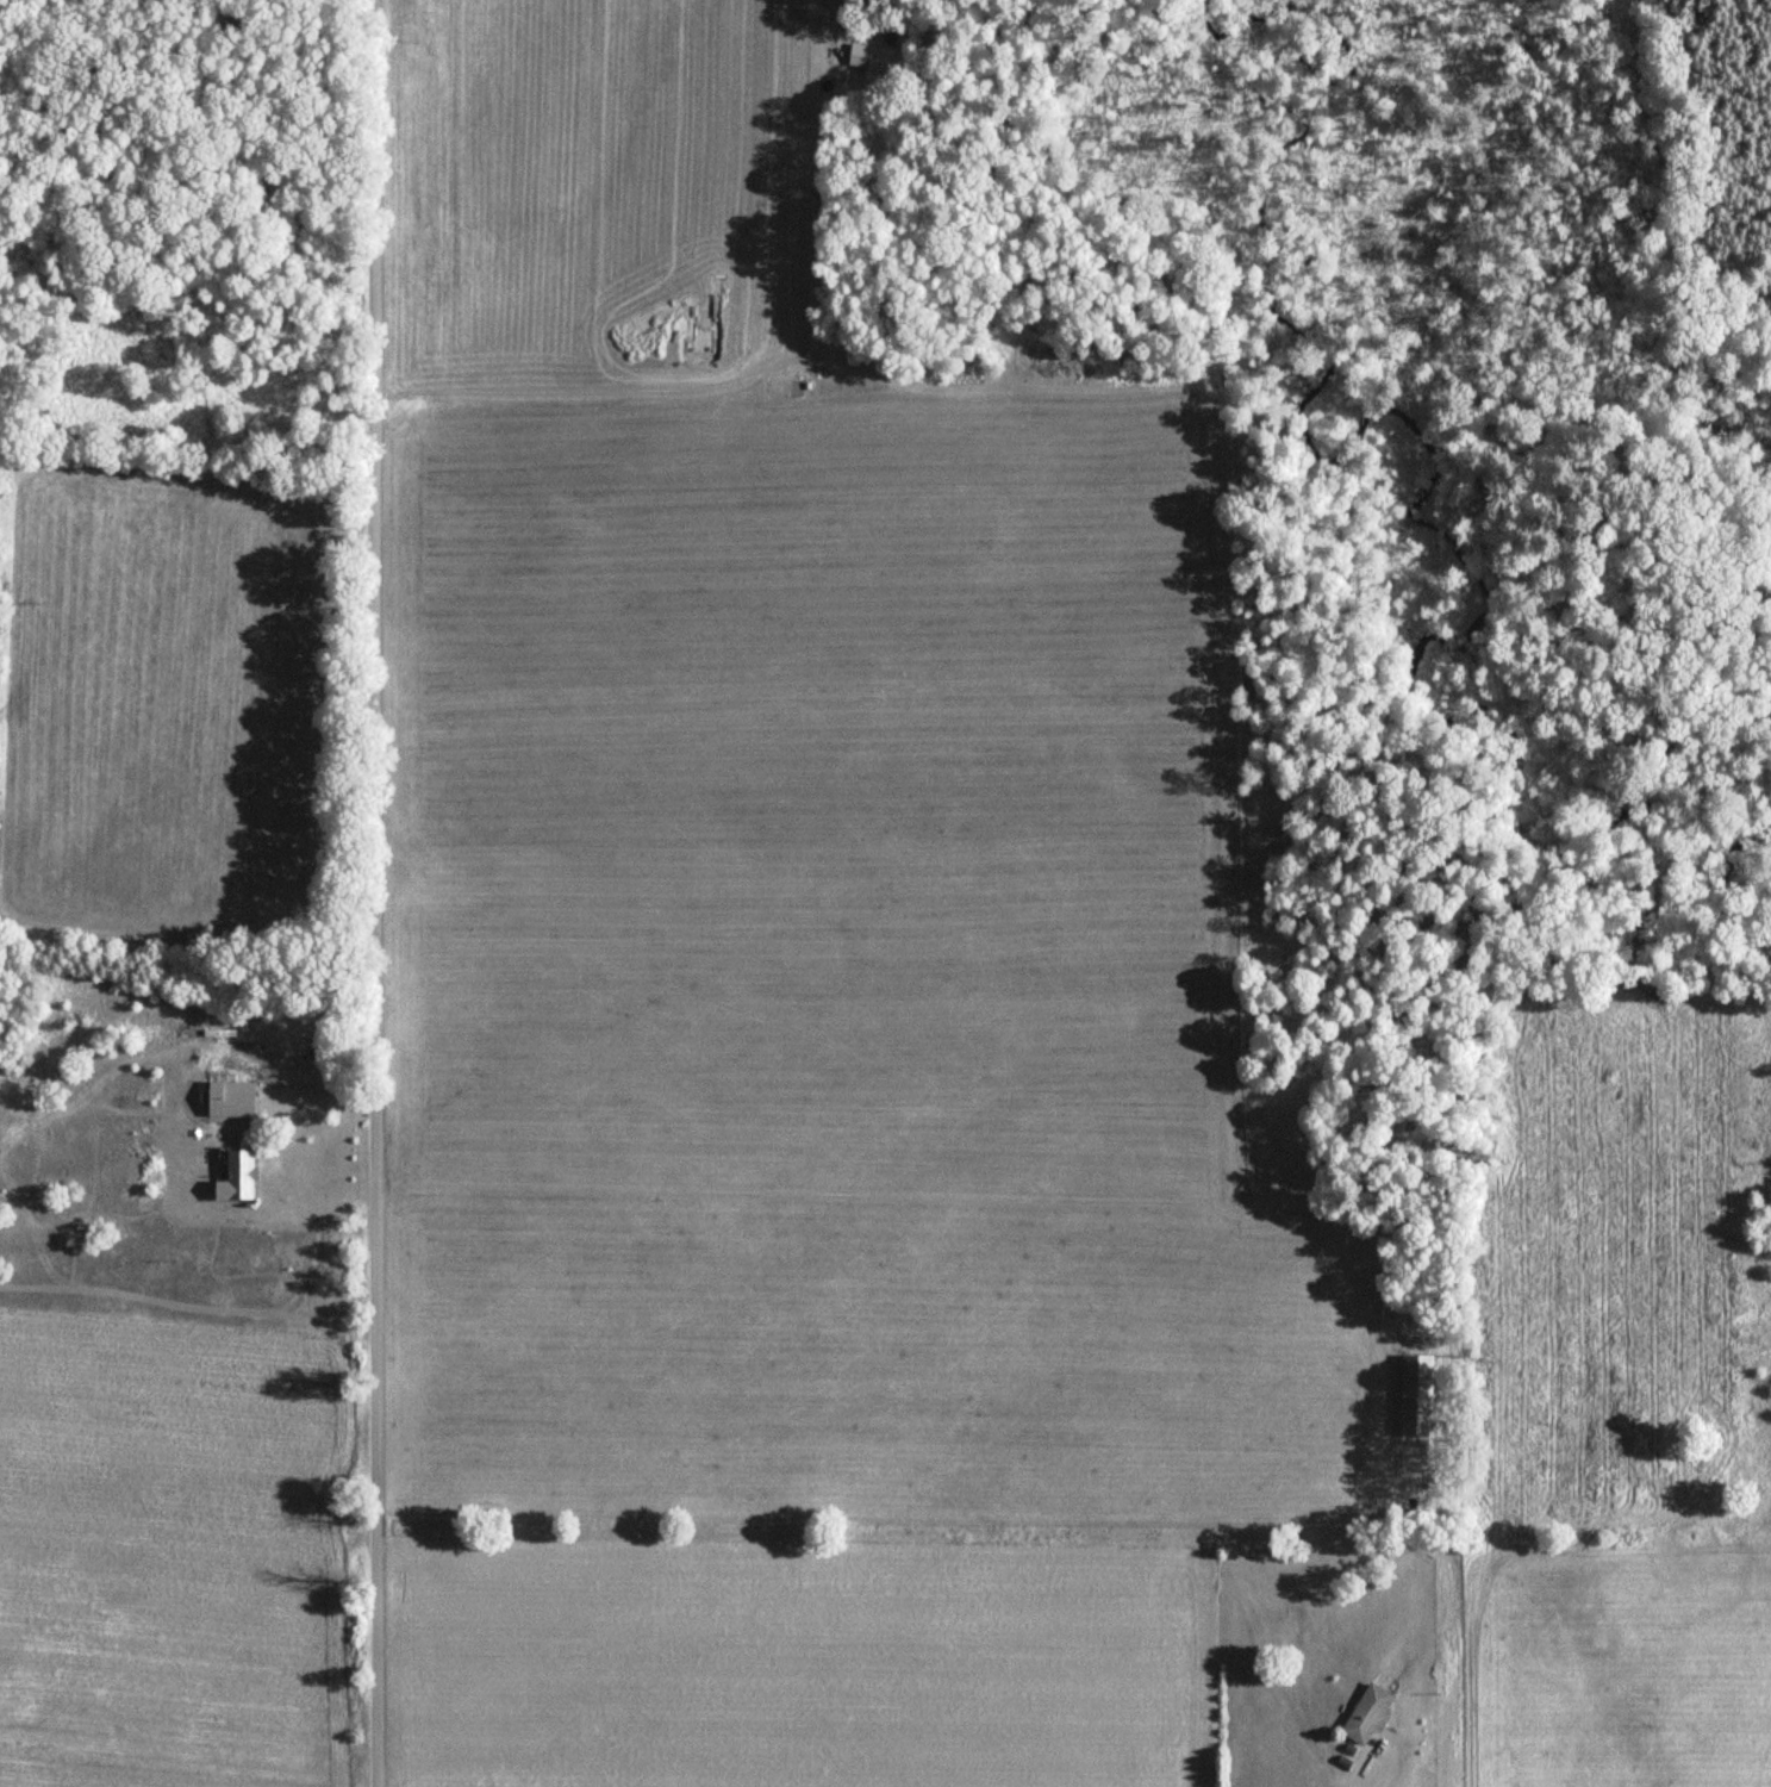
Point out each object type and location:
road: (822, 26)
building: (872, 64)
road: (375, 893)
road: (188, 939)
building: (237, 1103)
building: (239, 1177)
building: (1416, 1395)
building: (1370, 1714)
road: (1367, 1770)

